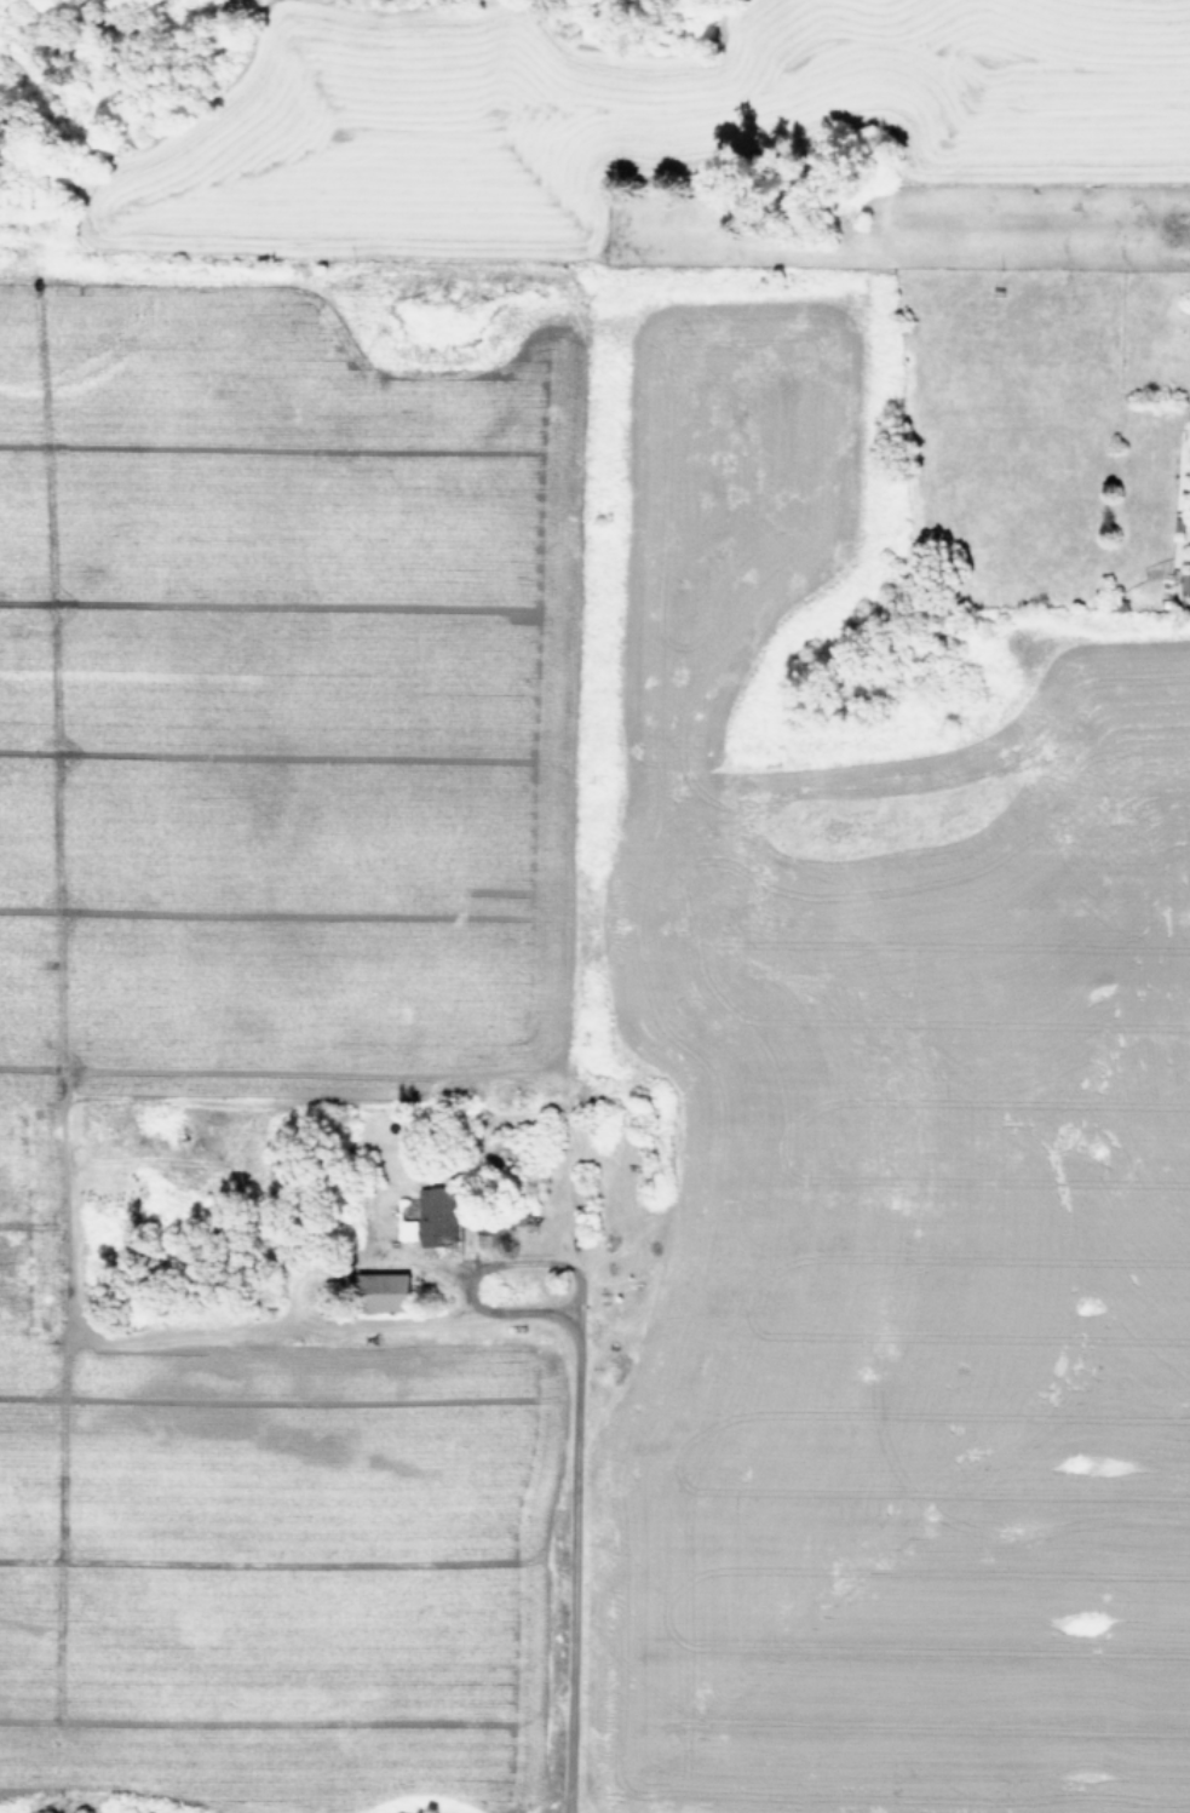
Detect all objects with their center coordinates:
building: (1188, 415)
crop: (603, 923)
building: (432, 1215)
building: (379, 1291)
road: (571, 1501)

